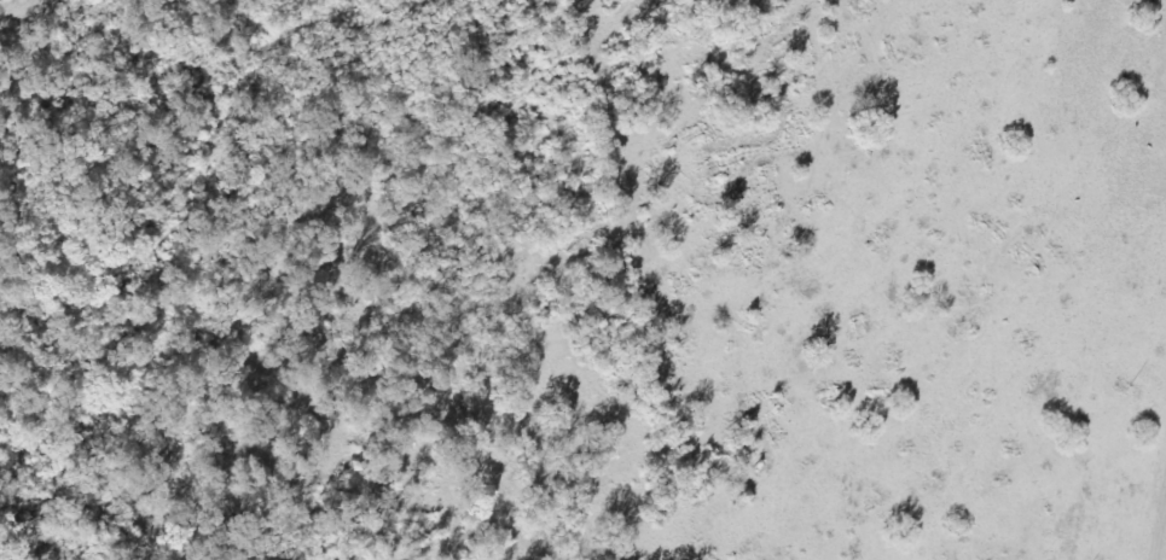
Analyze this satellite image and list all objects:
road: (1162, 542)

